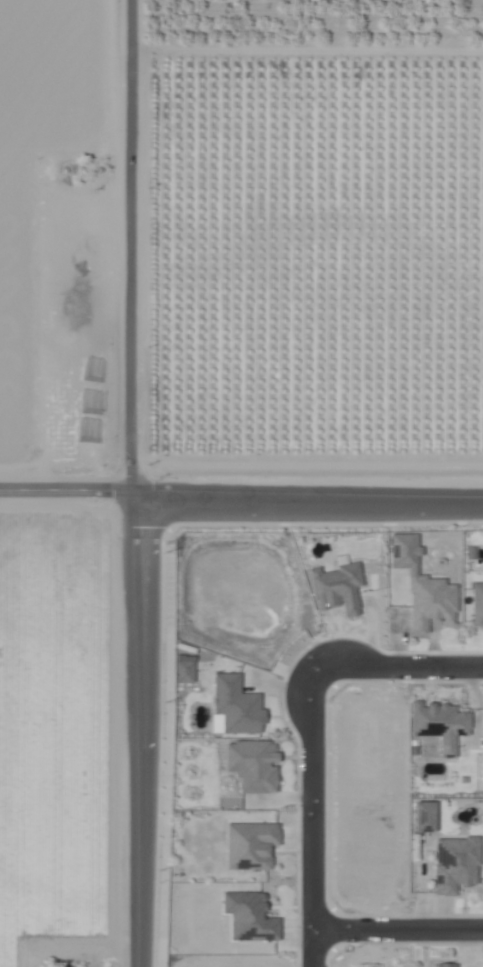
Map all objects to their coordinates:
crop: (316, 235)
crop: (59, 238)
road: (132, 244)
road: (241, 489)
building: (336, 586)
building: (421, 587)
building: (476, 605)
building: (183, 670)
road: (397, 673)
building: (234, 706)
building: (438, 724)
road: (131, 728)
crop: (57, 738)
building: (252, 765)
building: (423, 816)
road: (311, 820)
building: (250, 845)
building: (454, 863)
building: (248, 916)
road: (397, 936)
building: (444, 965)

